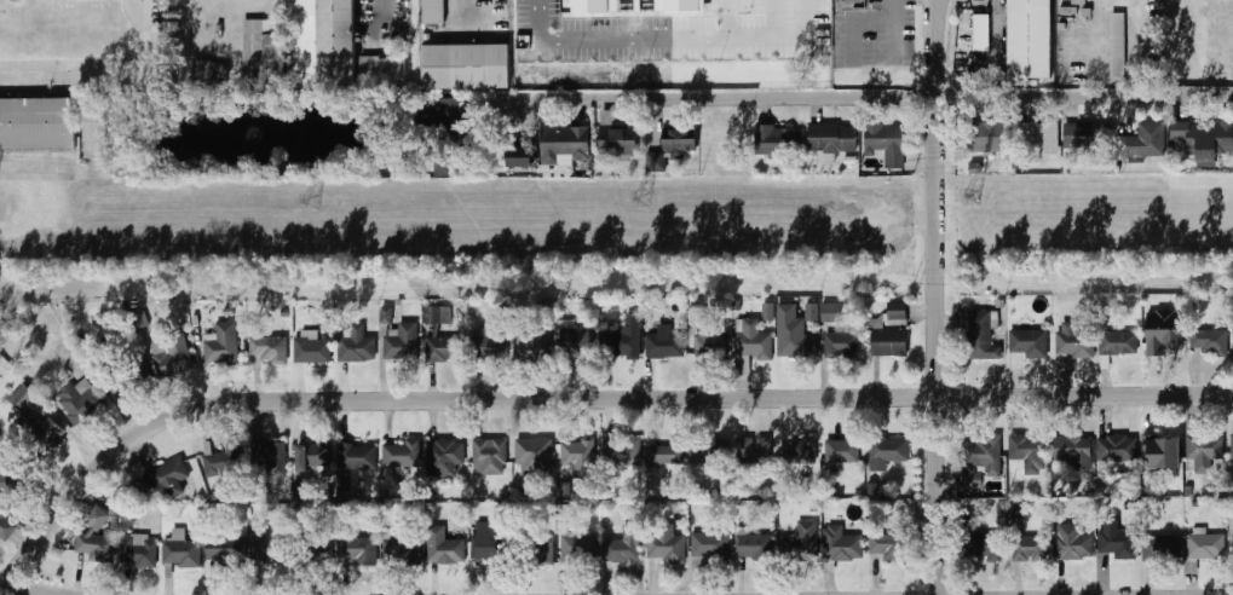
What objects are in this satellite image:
road: (993, 1)
road: (476, 4)
building: (668, 5)
building: (686, 5)
building: (702, 5)
building: (858, 5)
road: (382, 6)
building: (638, 6)
street lamp: (751, 6)
building: (590, 7)
building: (567, 8)
building: (613, 8)
road: (231, 10)
building: (437, 10)
road: (854, 21)
road: (541, 25)
road: (711, 25)
building: (986, 29)
road: (895, 30)
parking lot: (674, 33)
building: (1033, 36)
road: (1096, 36)
building: (1123, 41)
building: (328, 42)
road: (759, 47)
building: (264, 48)
road: (626, 51)
street lamp: (719, 59)
street lamp: (574, 60)
street lamp: (647, 62)
building: (471, 63)
building: (382, 70)
building: (208, 73)
road: (106, 76)
road: (878, 99)
building: (449, 110)
building: (36, 121)
building: (1091, 129)
building: (991, 133)
building: (1043, 134)
building: (1206, 135)
building: (1148, 137)
building: (618, 140)
building: (779, 140)
building: (832, 140)
building: (886, 144)
building: (565, 145)
building: (673, 148)
building: (520, 157)
road: (35, 172)
power tower: (643, 200)
power tower: (972, 201)
power tower: (309, 203)
road: (934, 296)
building: (695, 312)
building: (768, 312)
building: (812, 312)
building: (832, 312)
building: (897, 313)
building: (386, 314)
building: (437, 314)
building: (980, 333)
building: (1165, 335)
building: (887, 339)
building: (1076, 339)
building: (575, 340)
building: (751, 340)
building: (402, 342)
building: (532, 342)
building: (1118, 342)
building: (1211, 342)
building: (796, 343)
building: (841, 343)
building: (1030, 343)
building: (221, 345)
building: (489, 345)
building: (626, 345)
building: (711, 345)
building: (357, 346)
building: (666, 346)
building: (311, 347)
building: (444, 348)
building: (270, 350)
building: (172, 356)
building: (23, 398)
road: (578, 398)
building: (81, 402)
building: (45, 432)
building: (1232, 445)
building: (1117, 447)
building: (754, 449)
building: (842, 449)
building: (1074, 450)
building: (1202, 450)
building: (704, 451)
building: (799, 451)
building: (888, 451)
building: (1162, 451)
building: (402, 452)
building: (1030, 452)
building: (622, 454)
building: (666, 454)
building: (313, 455)
building: (535, 455)
building: (270, 456)
building: (357, 456)
building: (490, 456)
building: (578, 456)
building: (444, 457)
building: (981, 460)
building: (224, 464)
building: (160, 479)
building: (13, 481)
building: (115, 507)
building: (1016, 510)
building: (6, 521)
building: (98, 537)
building: (801, 539)
building: (489, 541)
building: (709, 543)
building: (1073, 543)
building: (666, 544)
building: (891, 544)
building: (1118, 544)
building: (266, 545)
building: (755, 545)
building: (840, 545)
building: (983, 545)
building: (1203, 545)
building: (444, 547)
building: (1162, 547)
building: (578, 548)
building: (624, 548)
building: (225, 549)
building: (402, 549)
building: (1030, 549)
building: (139, 550)
building: (182, 550)
building: (317, 550)
building: (358, 550)
building: (541, 550)
road: (19, 590)

